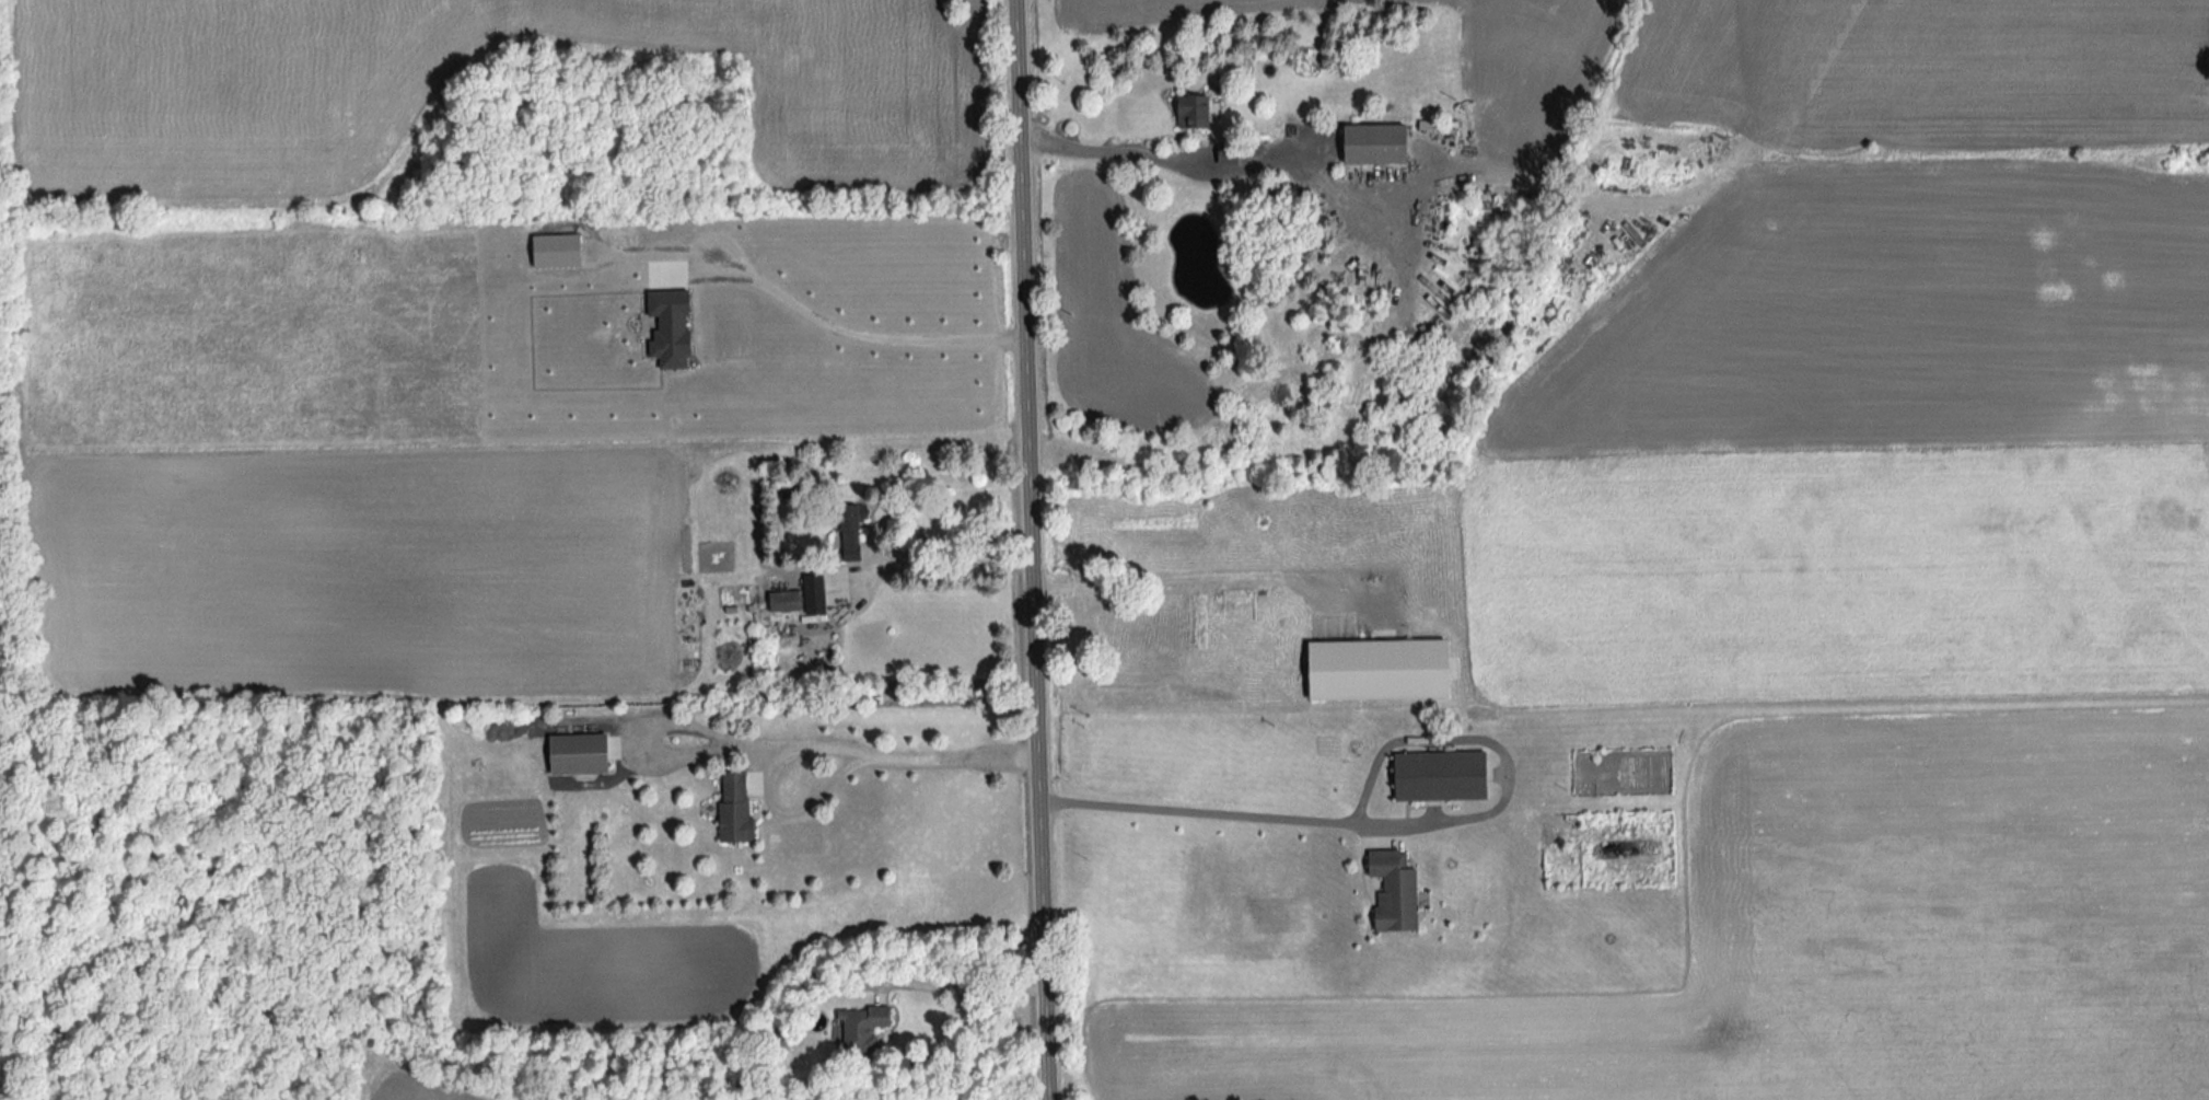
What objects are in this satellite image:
crop: (1528, 63)
crop: (1928, 69)
crop: (224, 96)
building: (1384, 143)
road: (1249, 169)
road: (825, 326)
road: (956, 549)
road: (1028, 549)
crop: (361, 568)
road: (1175, 574)
building: (791, 602)
crop: (1848, 659)
building: (1385, 670)
building: (585, 754)
road: (919, 759)
building: (1439, 775)
building: (740, 792)
road: (1218, 814)
building: (1397, 890)
road: (963, 991)

